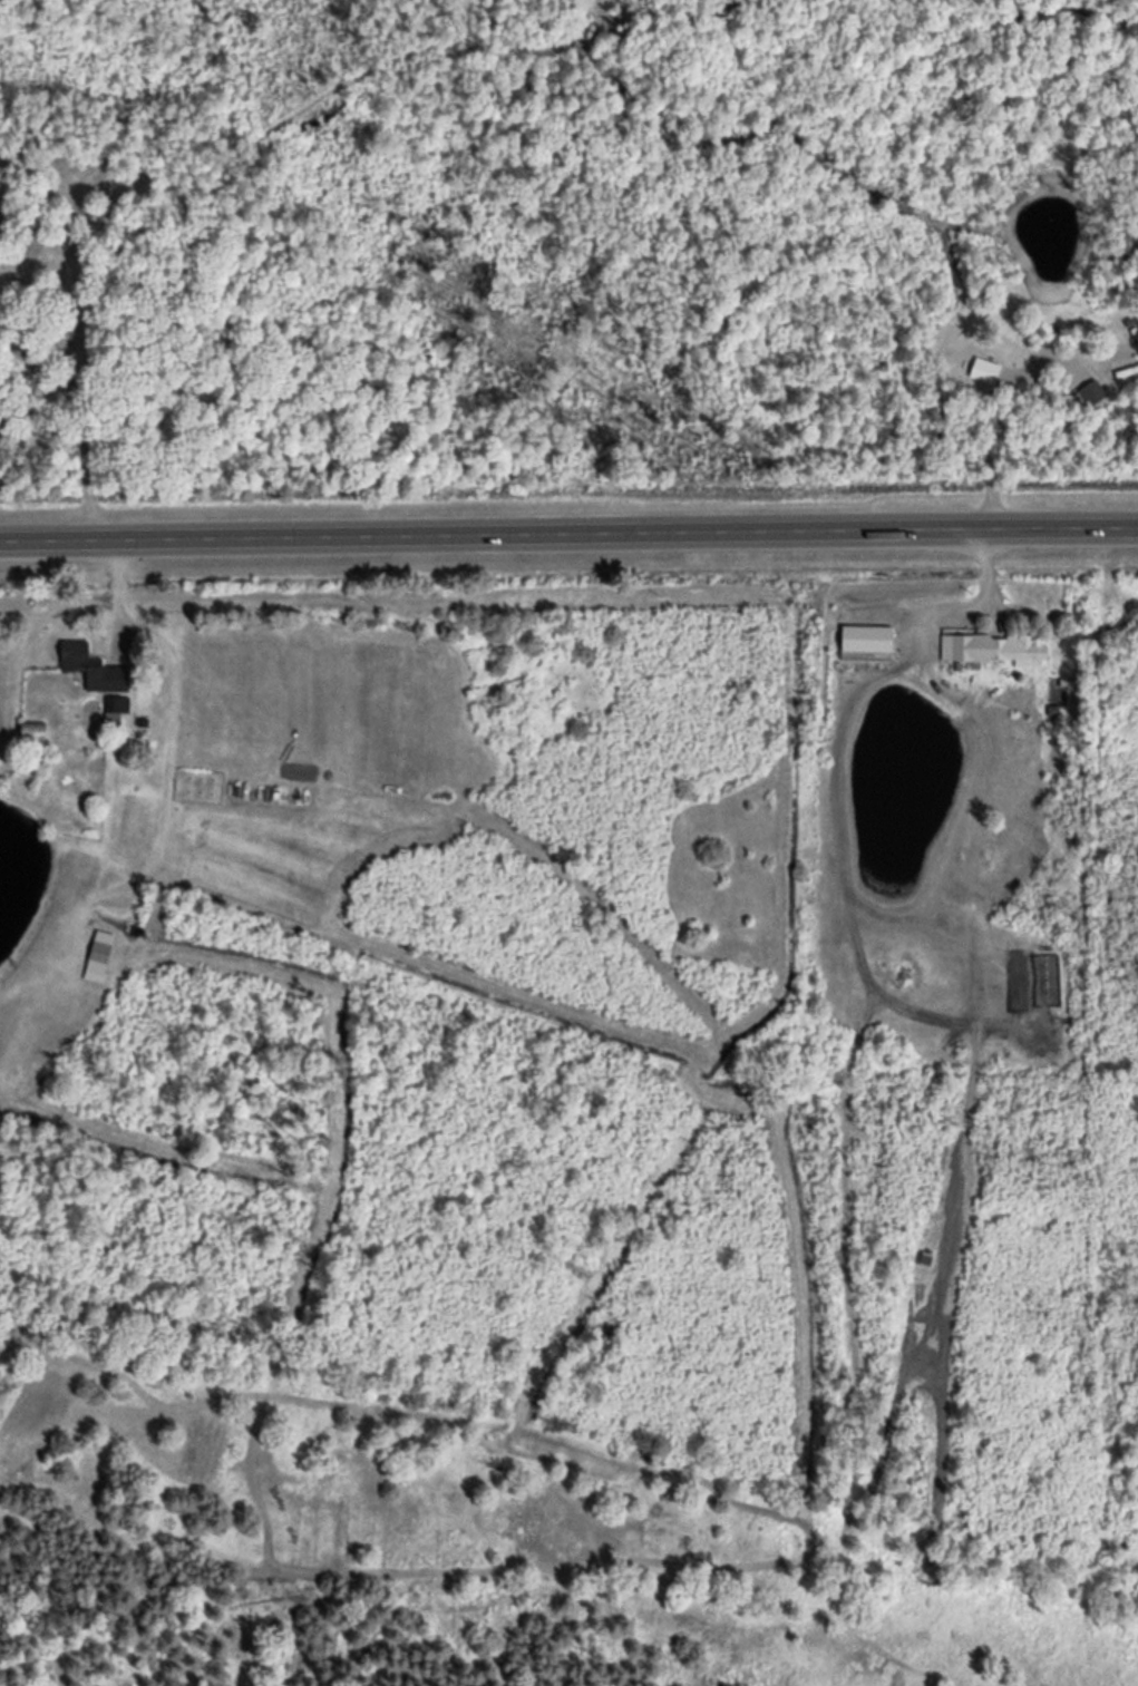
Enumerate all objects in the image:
building: (106, 222)
road: (568, 528)
building: (964, 644)
building: (1017, 645)
building: (84, 660)
building: (36, 729)
building: (100, 949)

